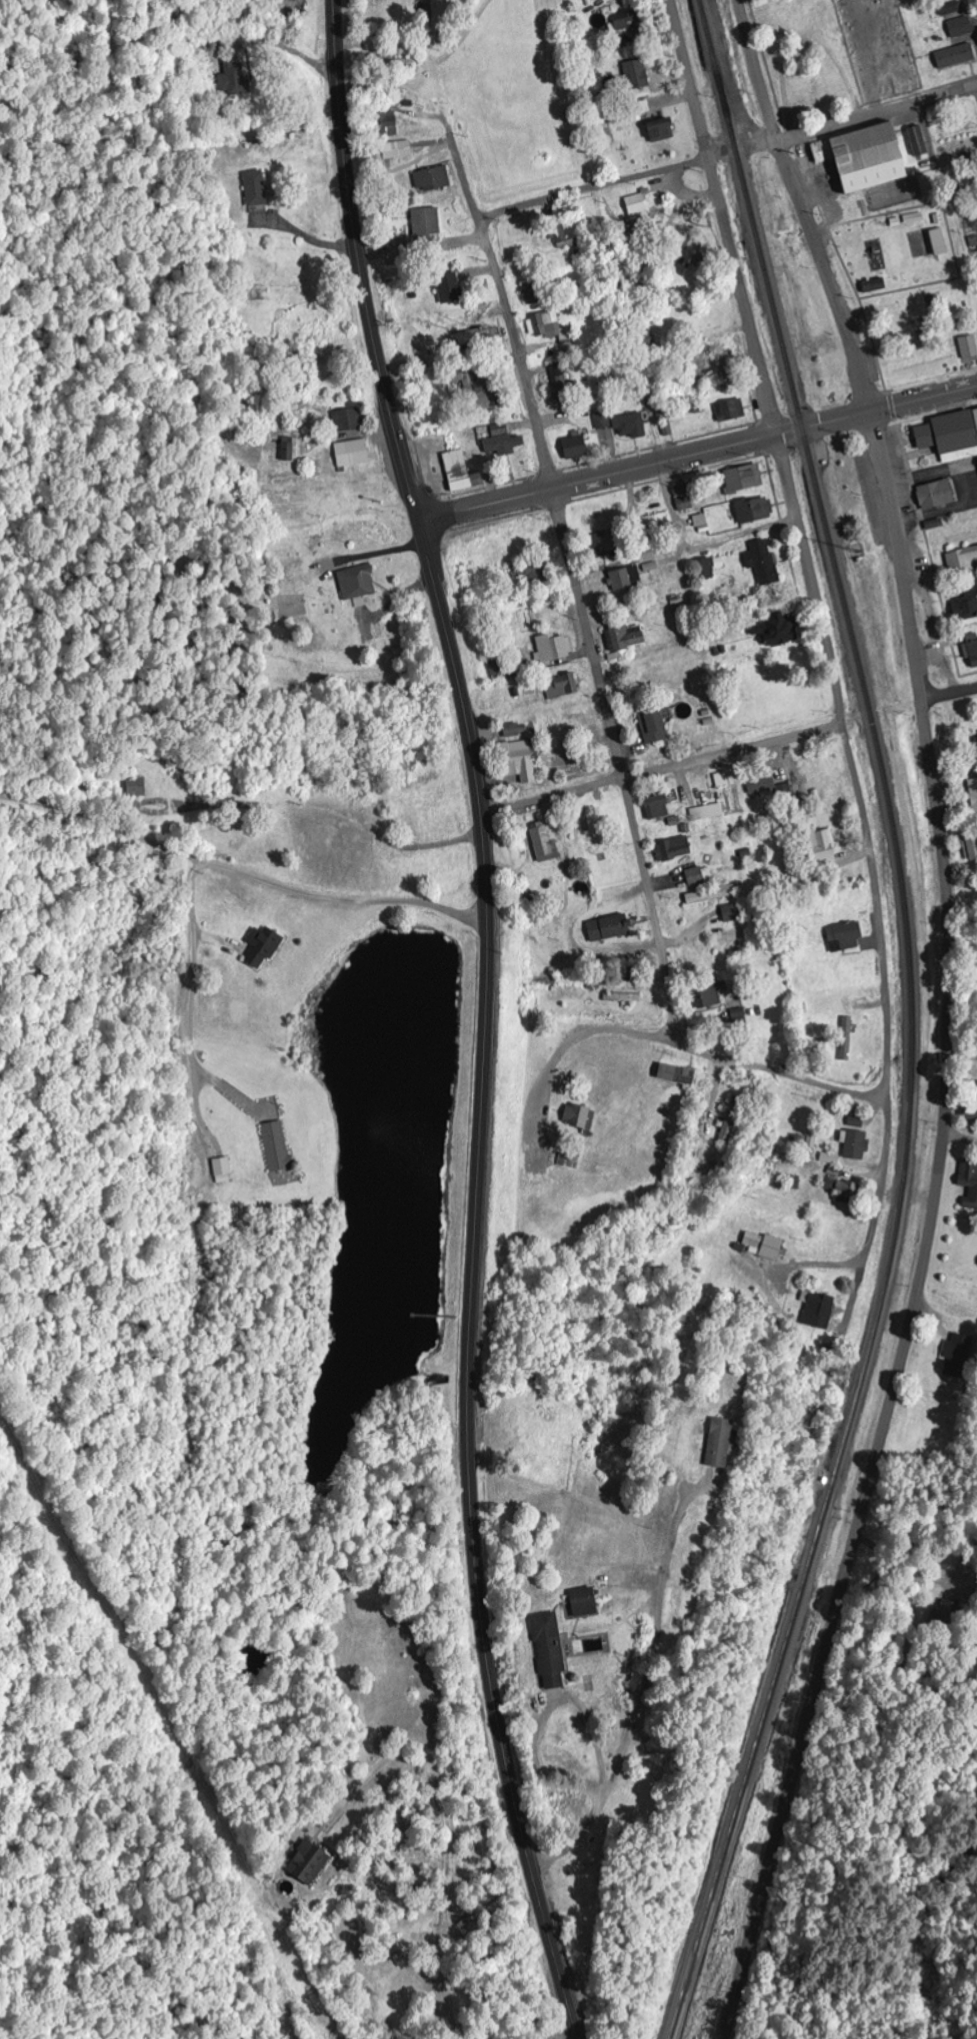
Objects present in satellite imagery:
building: (954, 11)
building: (628, 24)
building: (961, 28)
building: (956, 56)
building: (394, 59)
building: (637, 75)
building: (236, 79)
road: (879, 117)
building: (601, 119)
building: (387, 124)
building: (661, 131)
building: (917, 141)
building: (398, 150)
road: (743, 151)
building: (865, 159)
building: (433, 180)
road: (592, 188)
building: (255, 189)
building: (637, 207)
road: (721, 218)
building: (427, 223)
road: (948, 237)
building: (939, 242)
building: (874, 286)
building: (450, 289)
building: (531, 293)
road: (509, 312)
road: (631, 323)
building: (551, 329)
building: (467, 337)
road: (852, 345)
building: (969, 347)
building: (731, 409)
building: (976, 412)
building: (347, 419)
building: (623, 423)
building: (951, 436)
building: (503, 440)
building: (575, 445)
building: (287, 451)
building: (353, 453)
parking lot: (894, 453)
road: (697, 454)
building: (461, 472)
parking lot: (973, 472)
building: (744, 478)
building: (936, 495)
building: (684, 497)
parking lot: (869, 498)
parking lot: (905, 498)
building: (754, 509)
building: (701, 520)
building: (605, 544)
building: (962, 560)
building: (763, 561)
building: (706, 567)
building: (531, 571)
building: (626, 578)
building: (357, 582)
building: (965, 607)
building: (778, 629)
building: (624, 639)
building: (554, 647)
building: (973, 647)
building: (562, 686)
road: (950, 696)
building: (654, 726)
building: (516, 730)
building: (519, 760)
road: (620, 766)
road: (852, 766)
road: (662, 770)
building: (722, 779)
building: (762, 786)
building: (137, 787)
building: (975, 795)
building: (657, 807)
building: (708, 812)
building: (544, 842)
building: (823, 846)
building: (971, 848)
building: (674, 849)
building: (700, 875)
road: (291, 890)
building: (711, 894)
building: (732, 913)
road: (964, 913)
road: (467, 917)
road: (952, 918)
building: (609, 928)
building: (845, 936)
building: (263, 946)
road: (486, 1017)
railway: (913, 1023)
building: (847, 1039)
road: (690, 1047)
road: (194, 1075)
building: (677, 1075)
building: (972, 1103)
building: (580, 1116)
building: (855, 1140)
road: (960, 1141)
building: (276, 1146)
building: (569, 1159)
building: (223, 1170)
building: (969, 1181)
building: (843, 1191)
road: (875, 1217)
building: (763, 1245)
building: (818, 1310)
building: (957, 1355)
building: (719, 1444)
road: (843, 1589)
building: (584, 1603)
building: (550, 1652)
building: (309, 1862)
road: (540, 2024)

